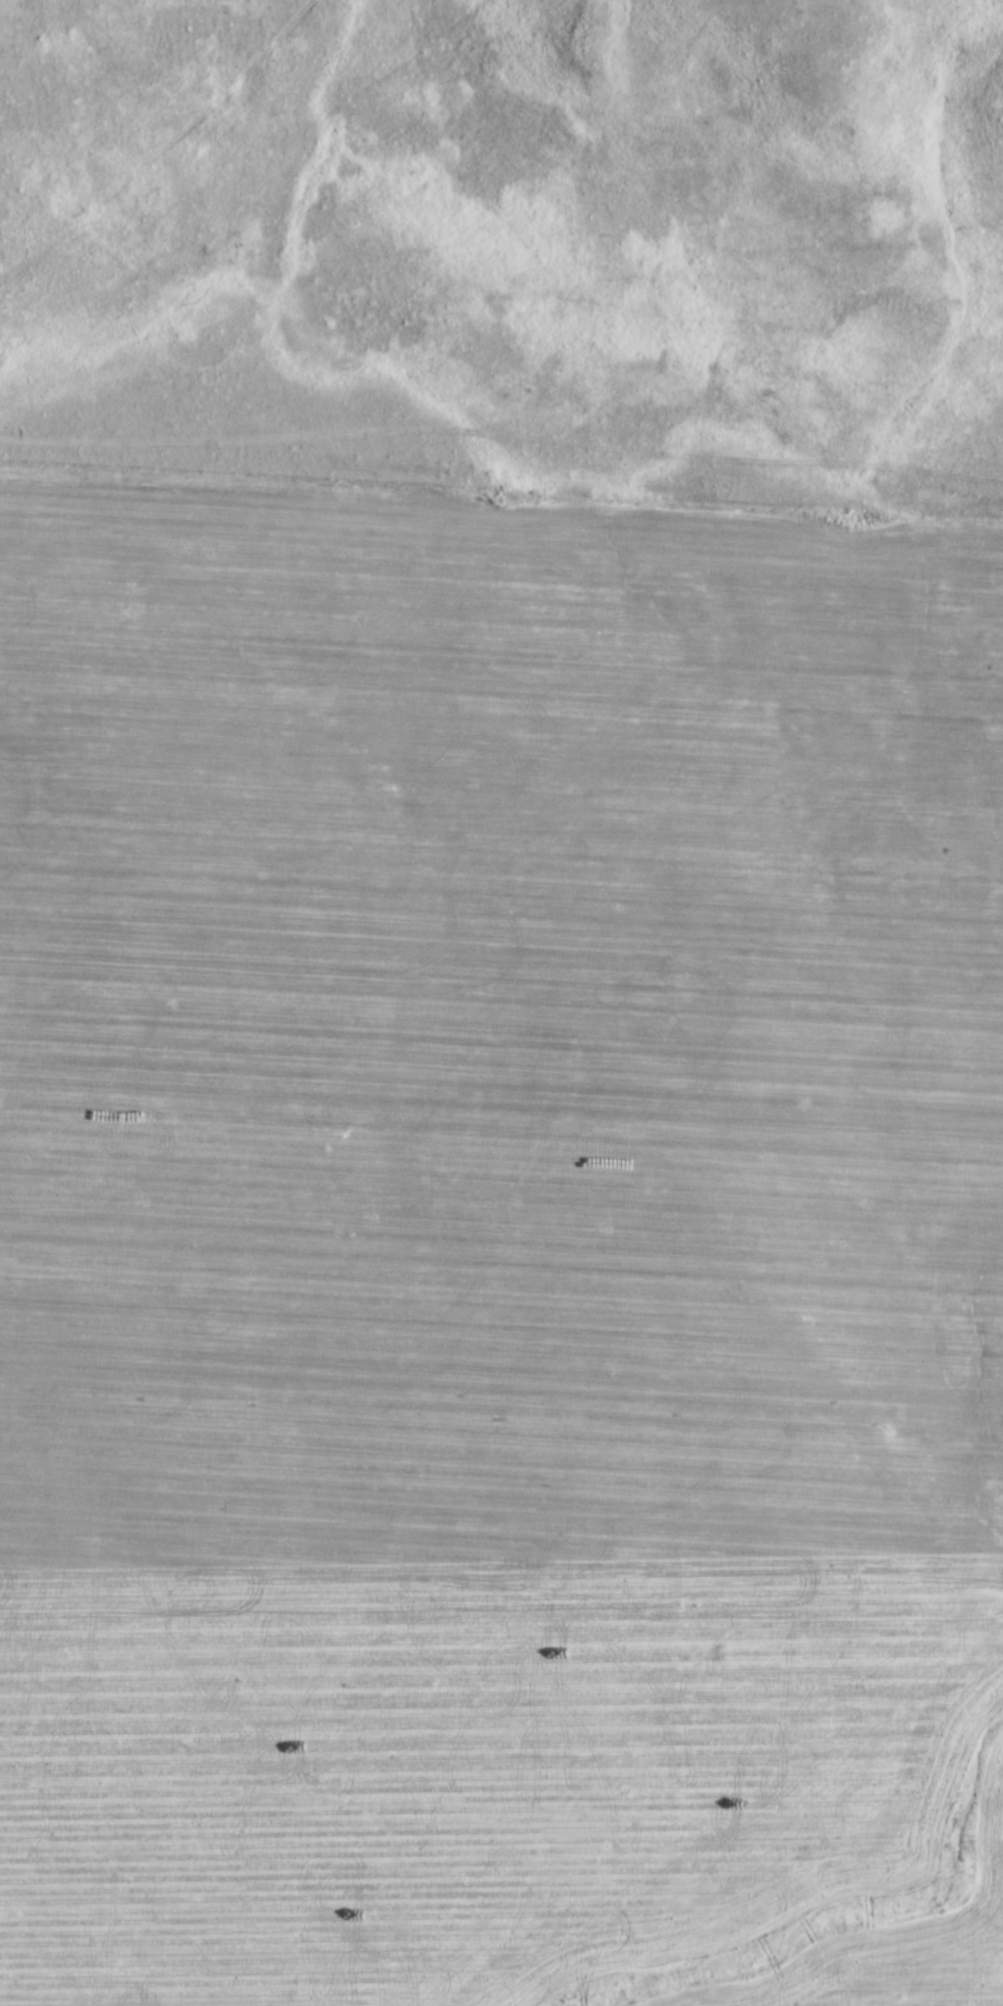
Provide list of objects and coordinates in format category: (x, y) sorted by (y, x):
building: (418, 1601)
building: (291, 1854)

